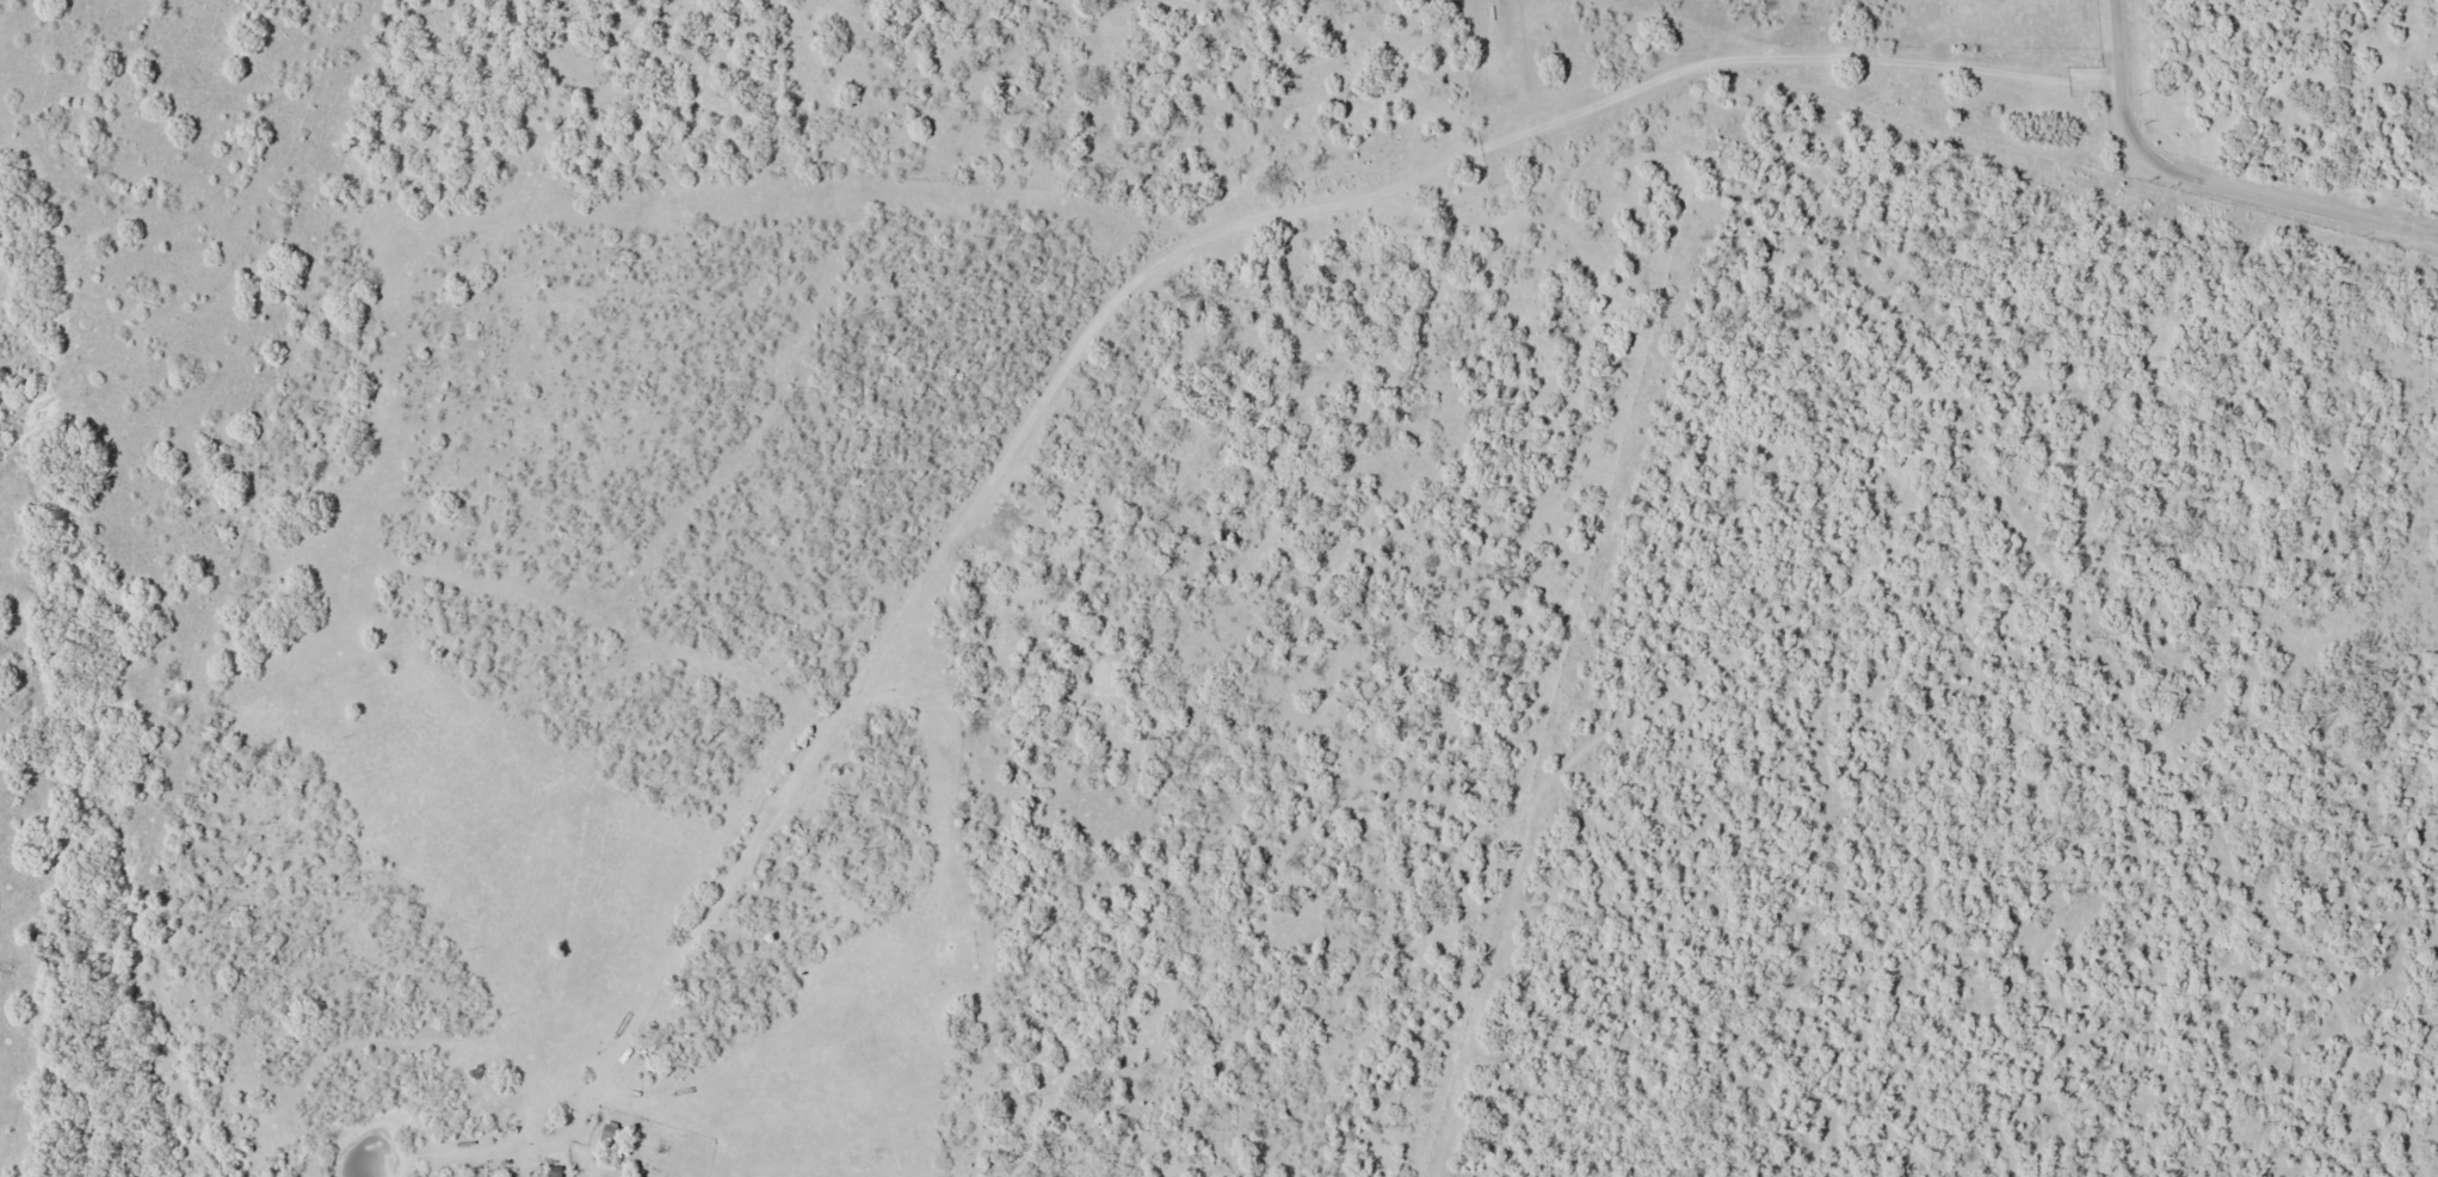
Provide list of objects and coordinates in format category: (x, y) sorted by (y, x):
road: (2211, 184)
building: (612, 1138)

